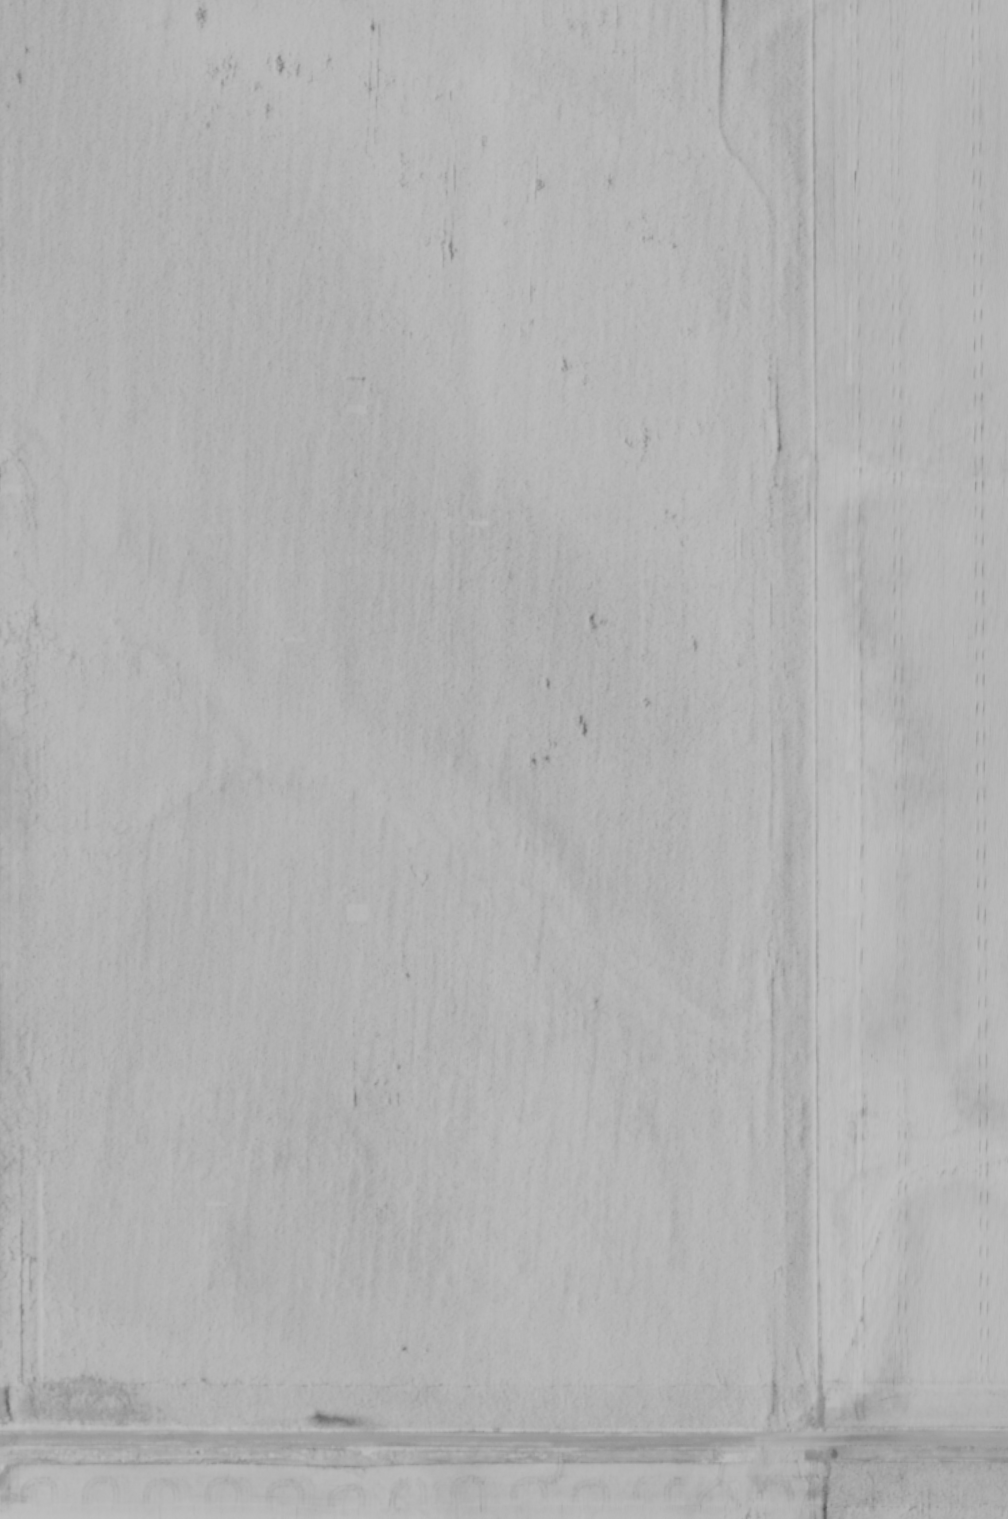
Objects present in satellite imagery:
road: (504, 1447)

